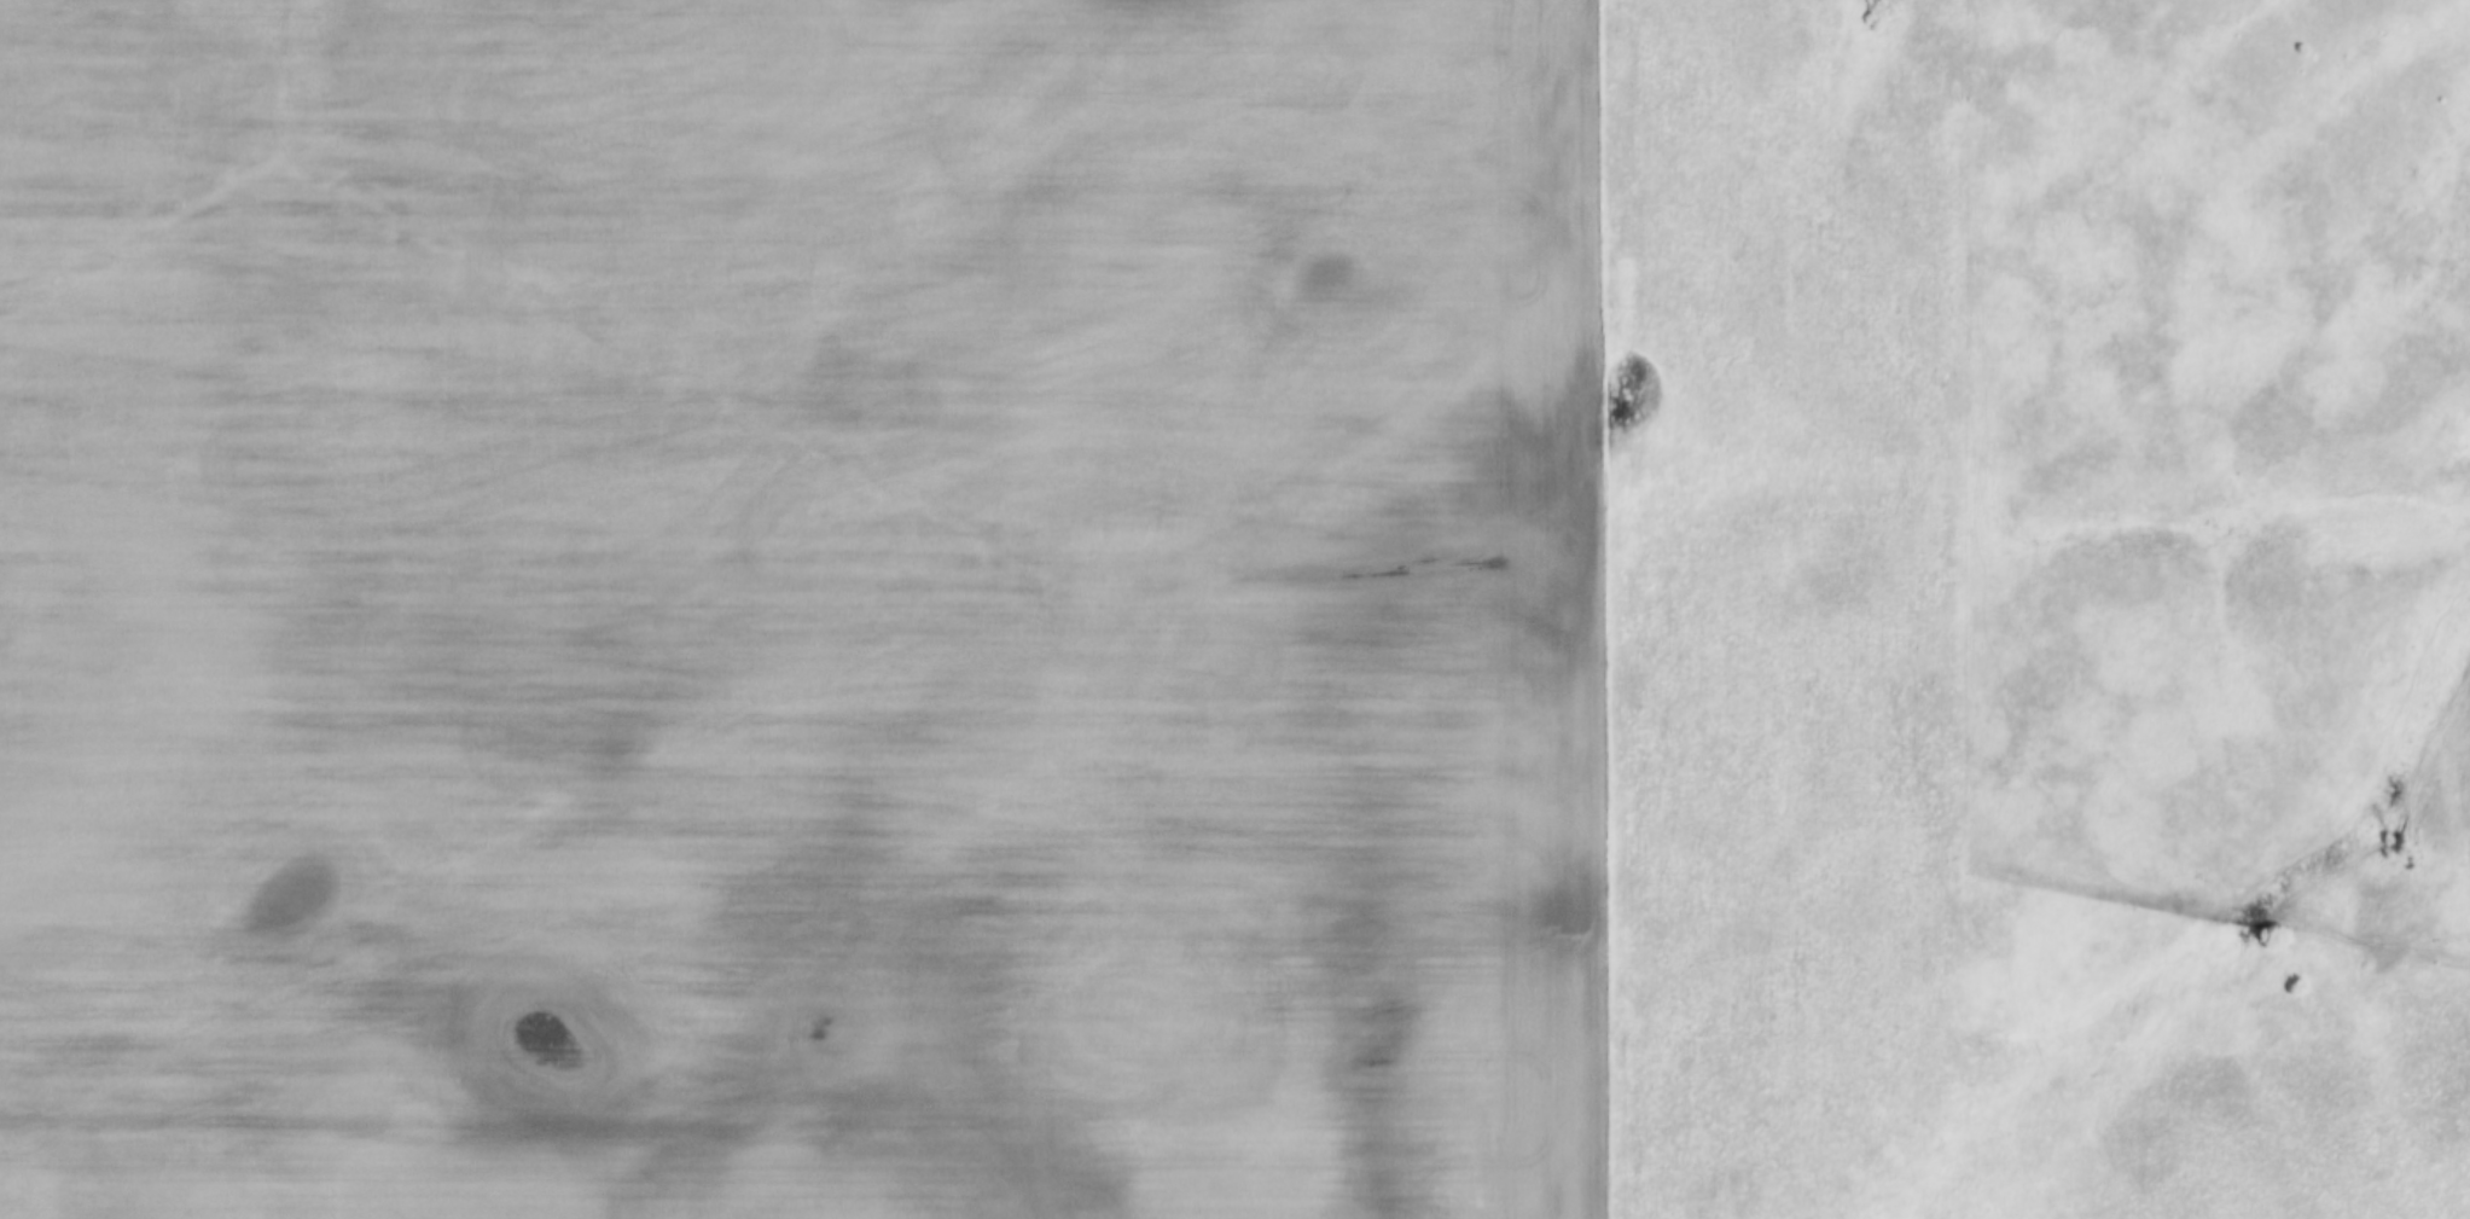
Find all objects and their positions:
road: (1612, 609)

